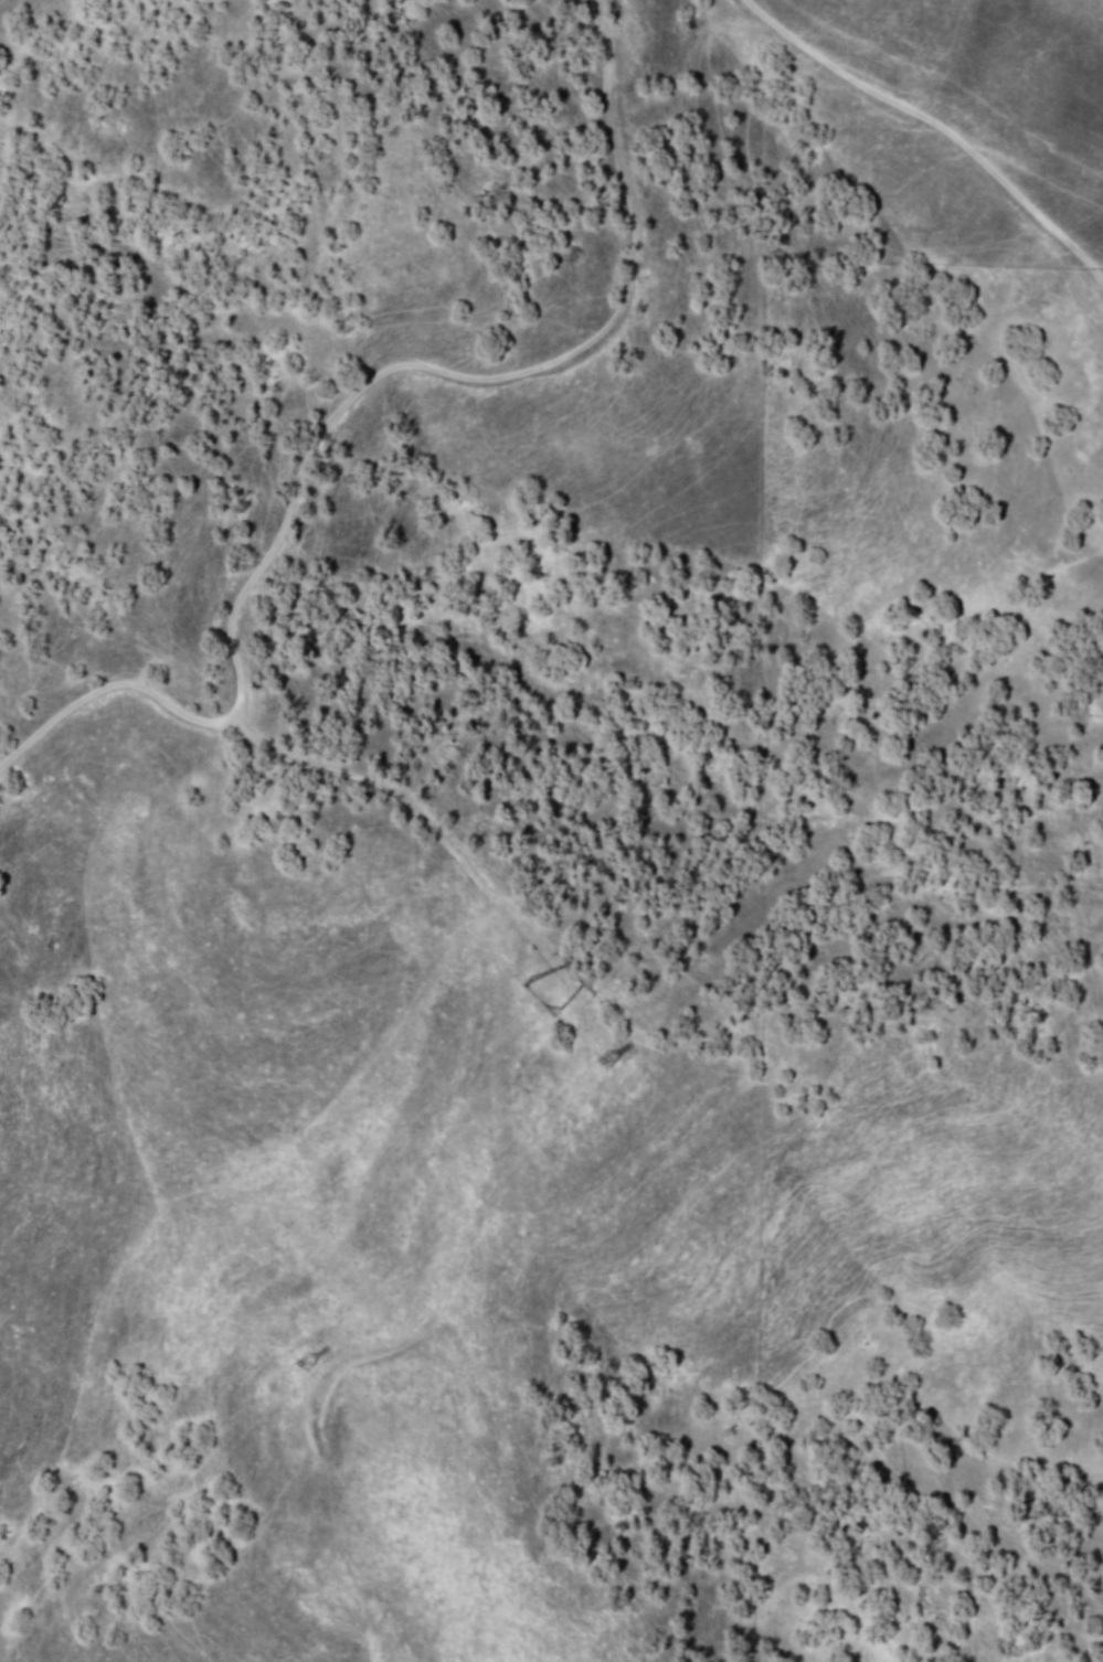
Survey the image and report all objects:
road: (980, 116)
road: (638, 131)
road: (285, 524)
power tower: (538, 984)
power tower: (609, 1058)
power tower: (303, 1353)

